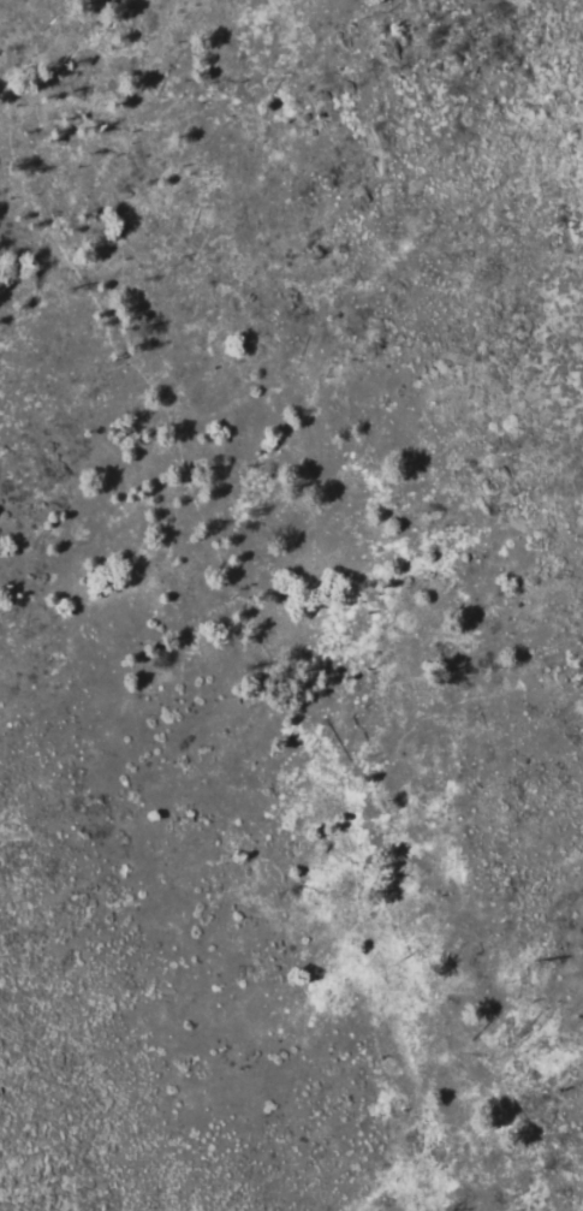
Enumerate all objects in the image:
road: (272, 633)

